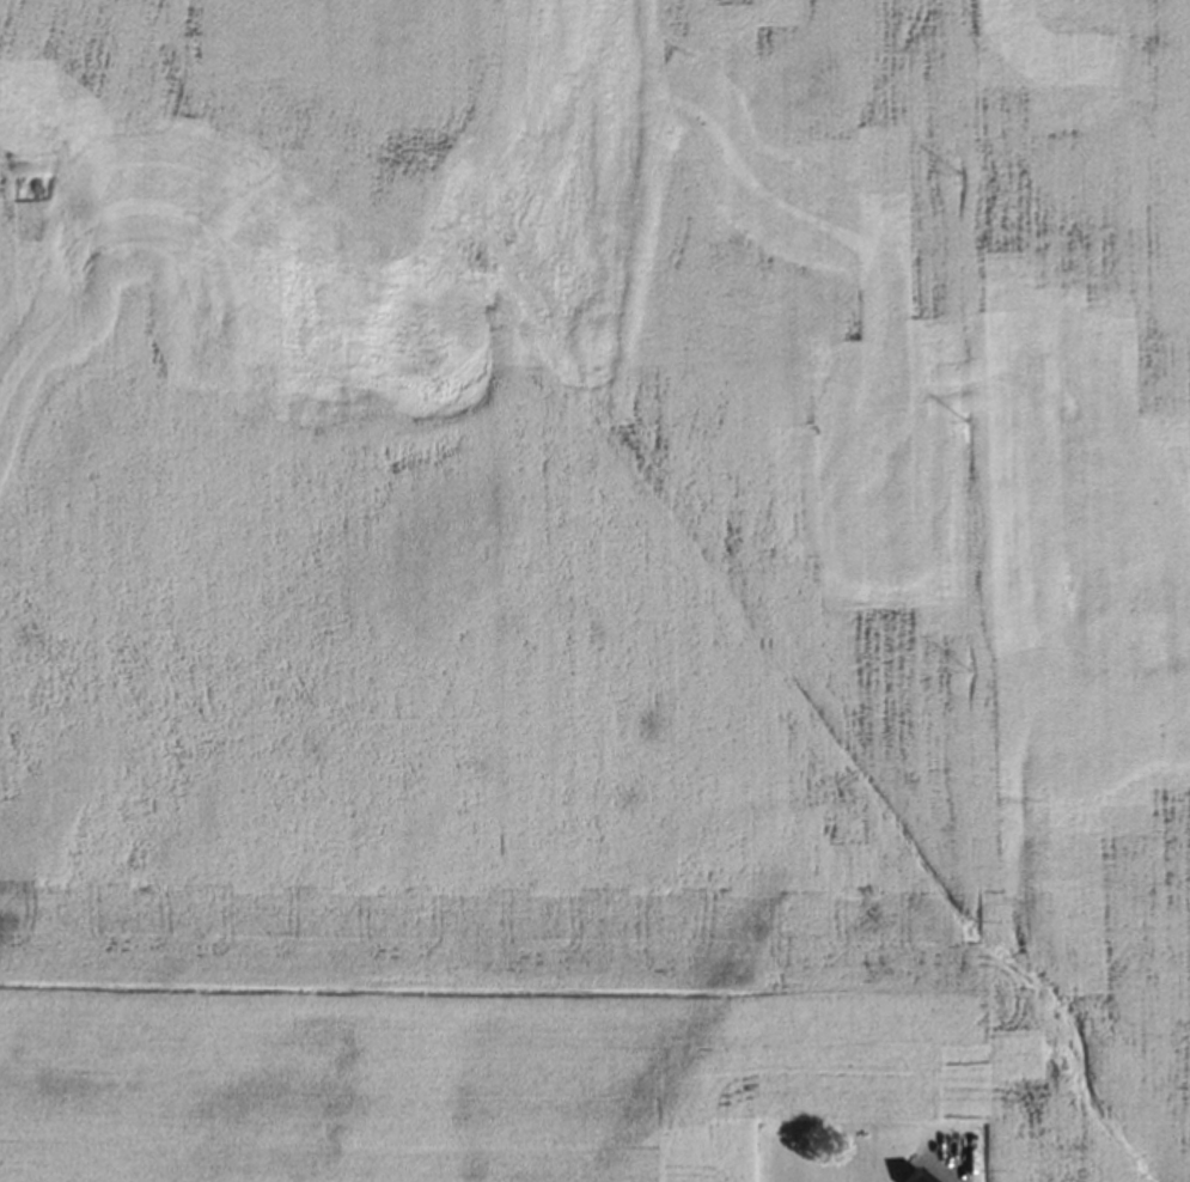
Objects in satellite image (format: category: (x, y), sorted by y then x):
building: (915, 1177)
road: (960, 1178)

